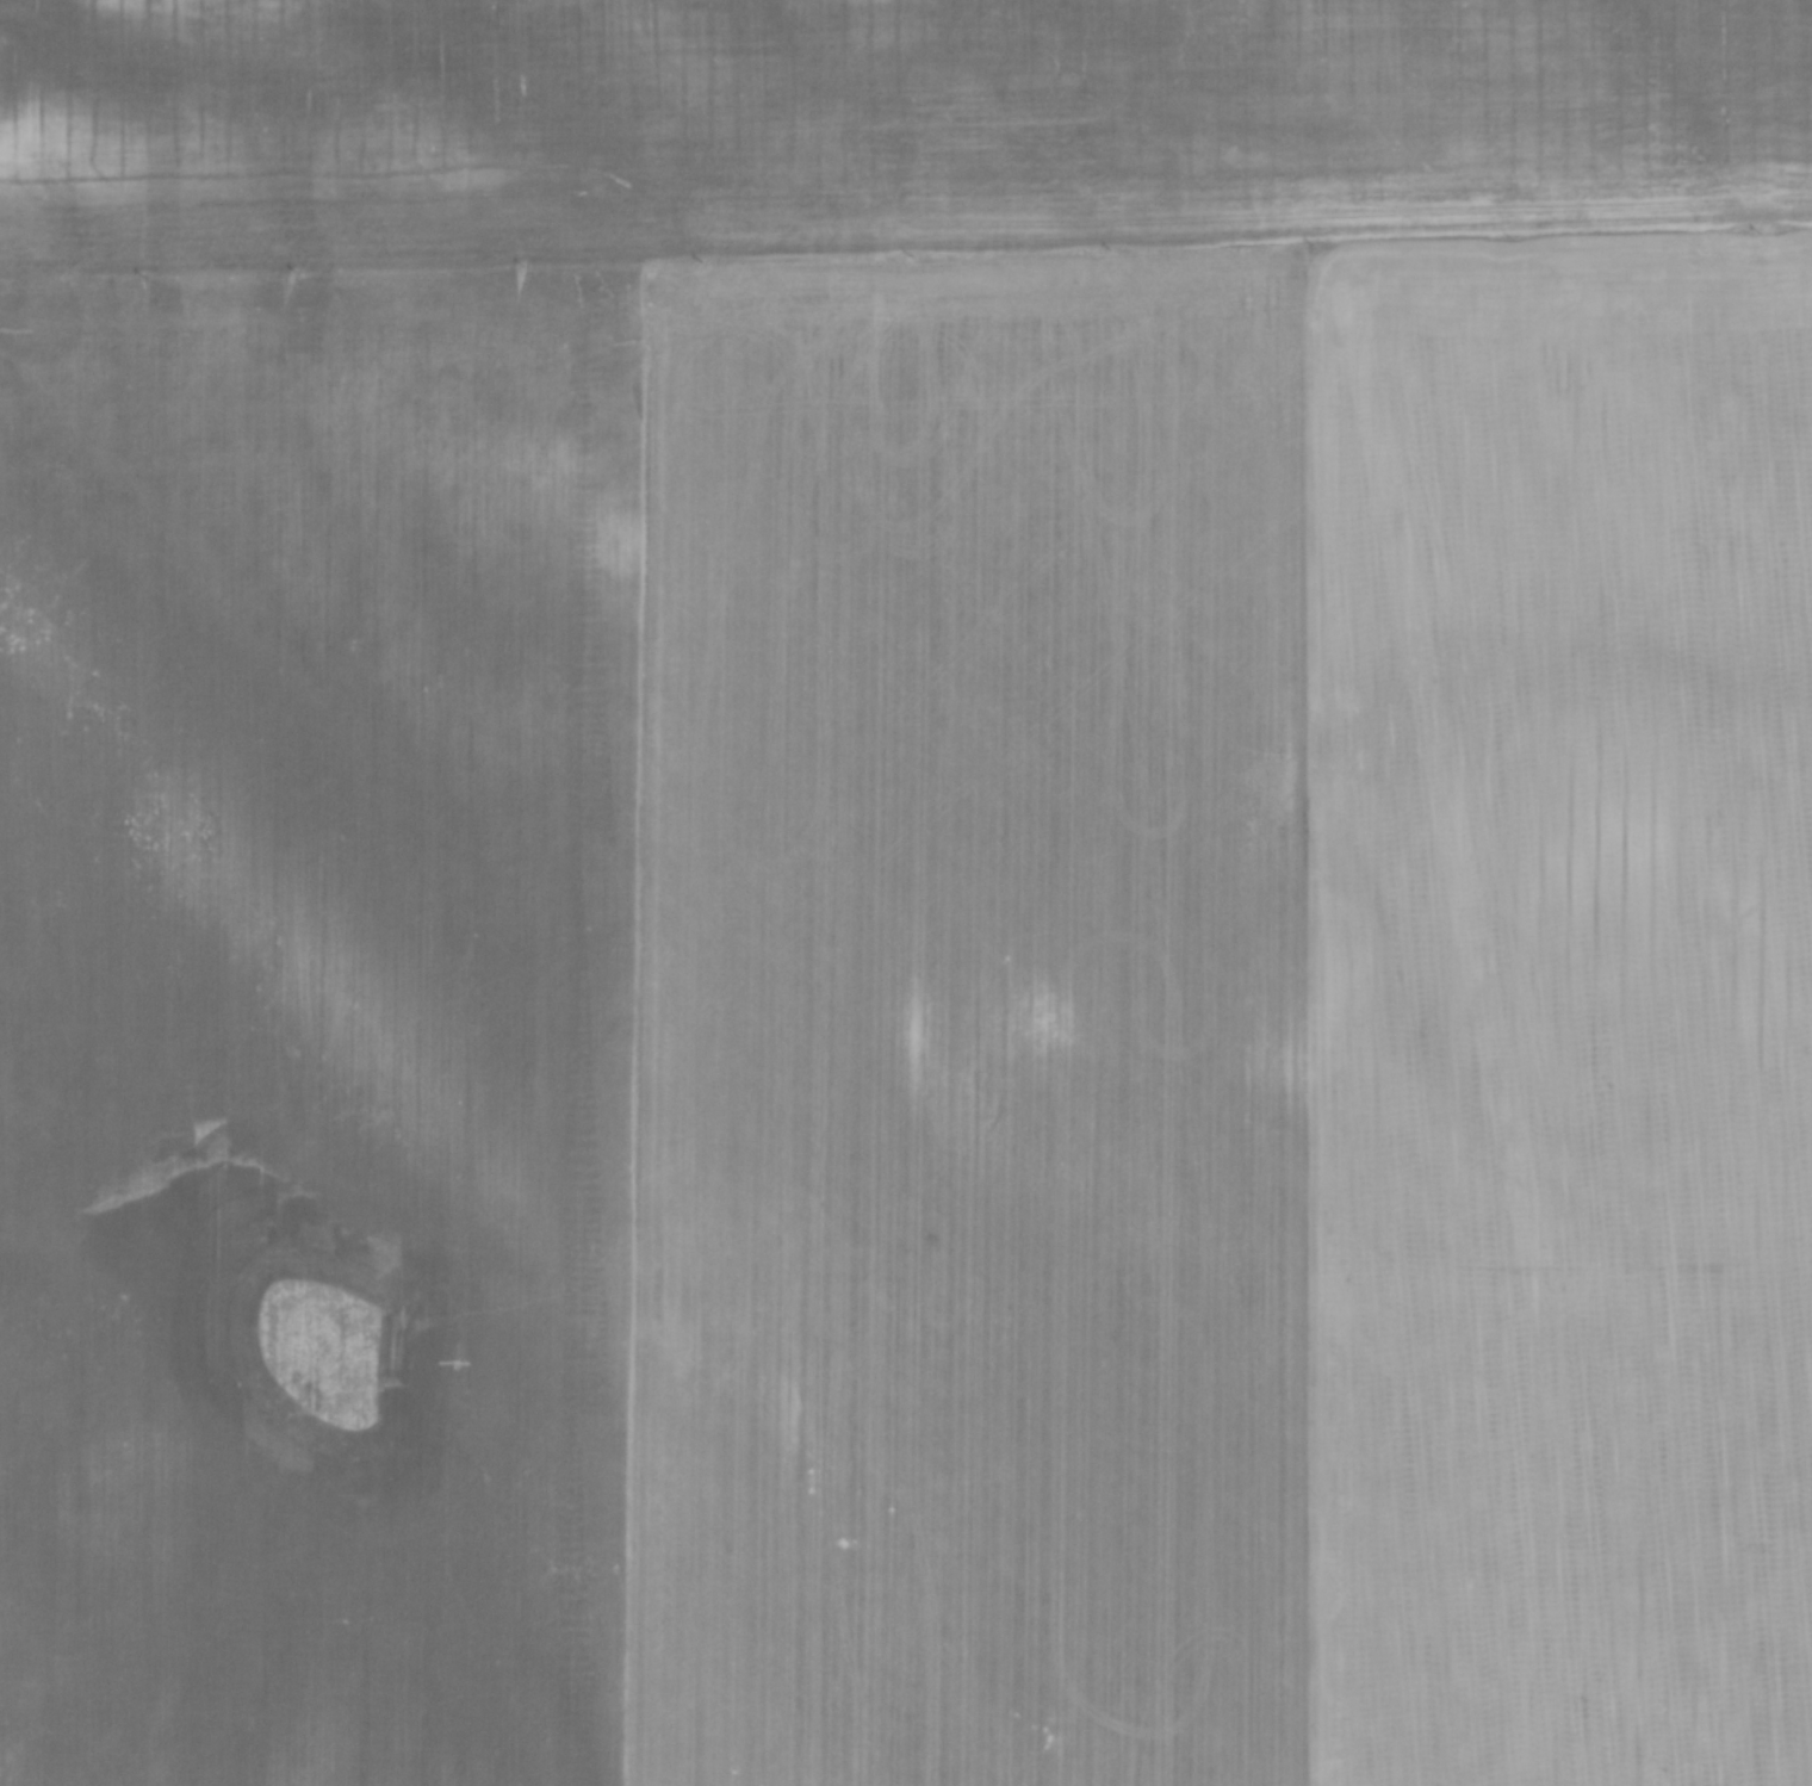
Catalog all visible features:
crop: (906, 893)

